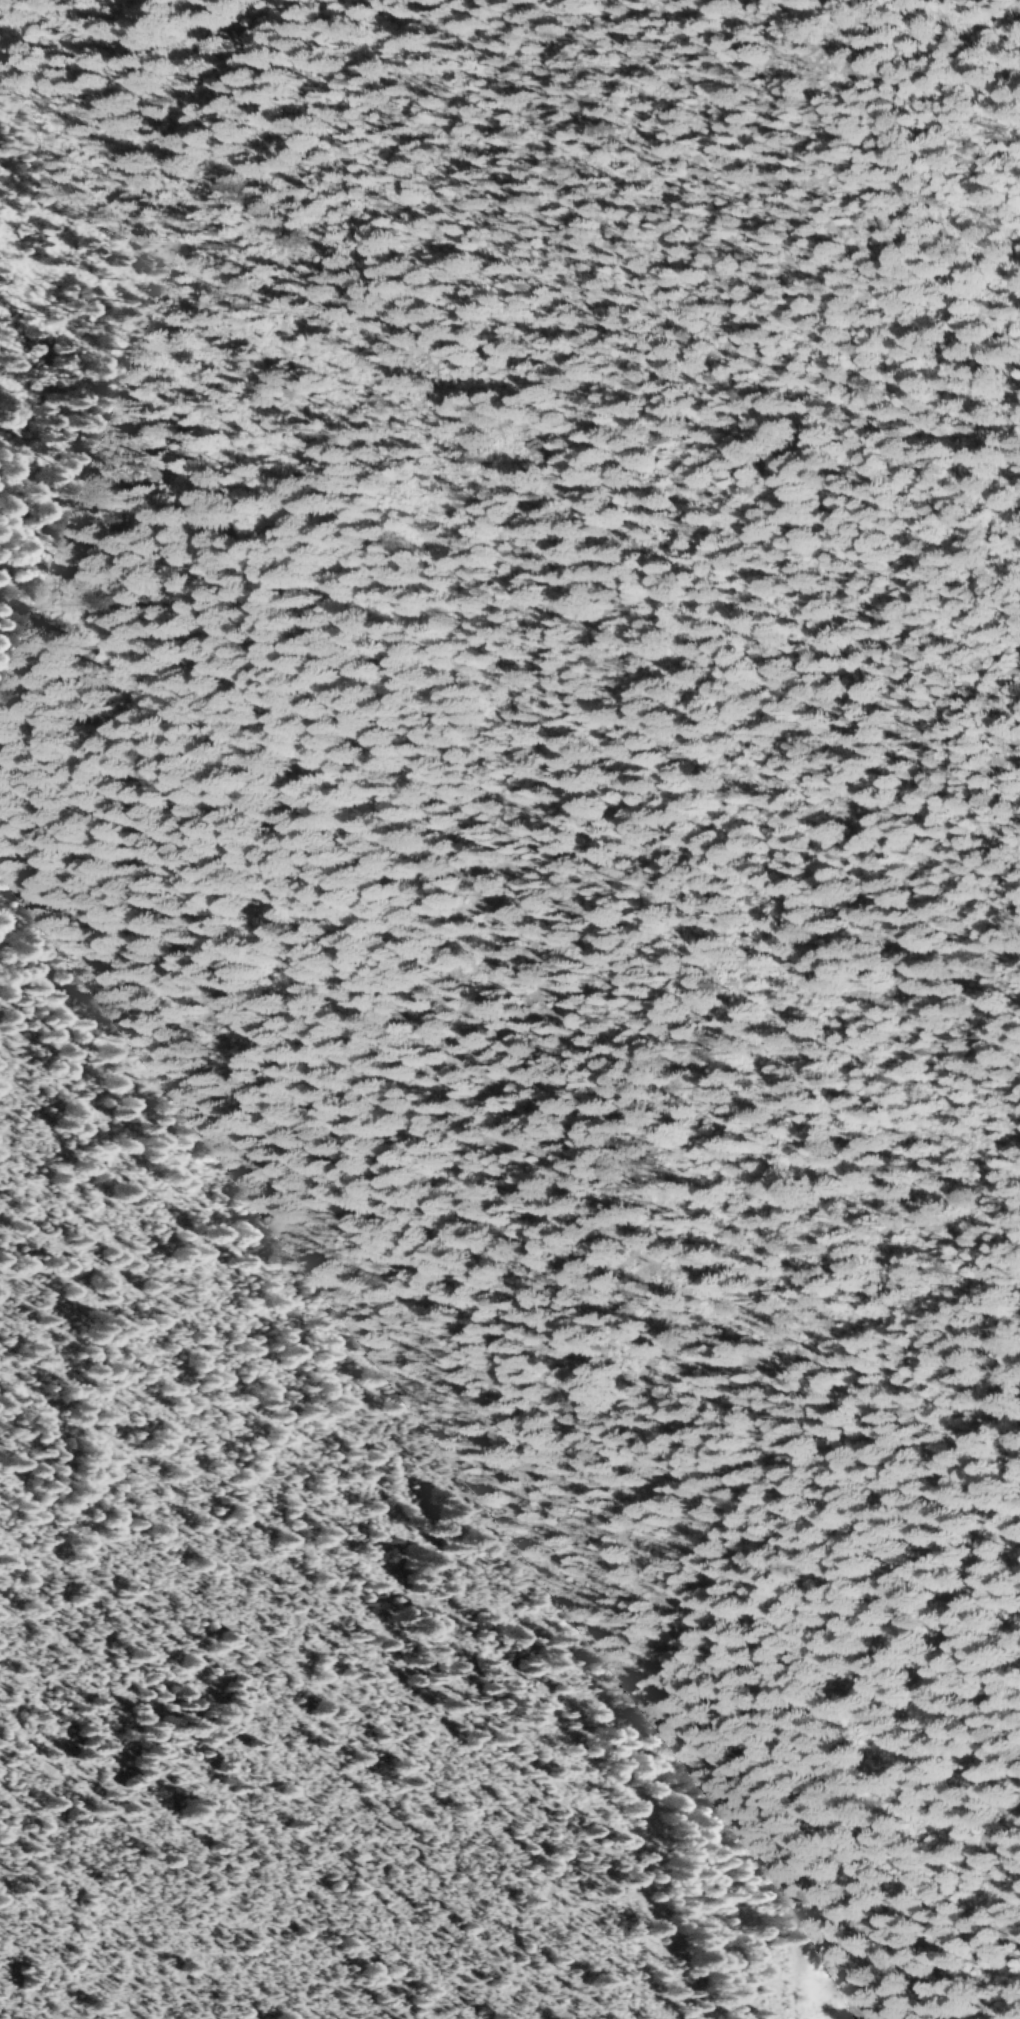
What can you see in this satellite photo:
road: (1007, 53)
road: (859, 1660)

